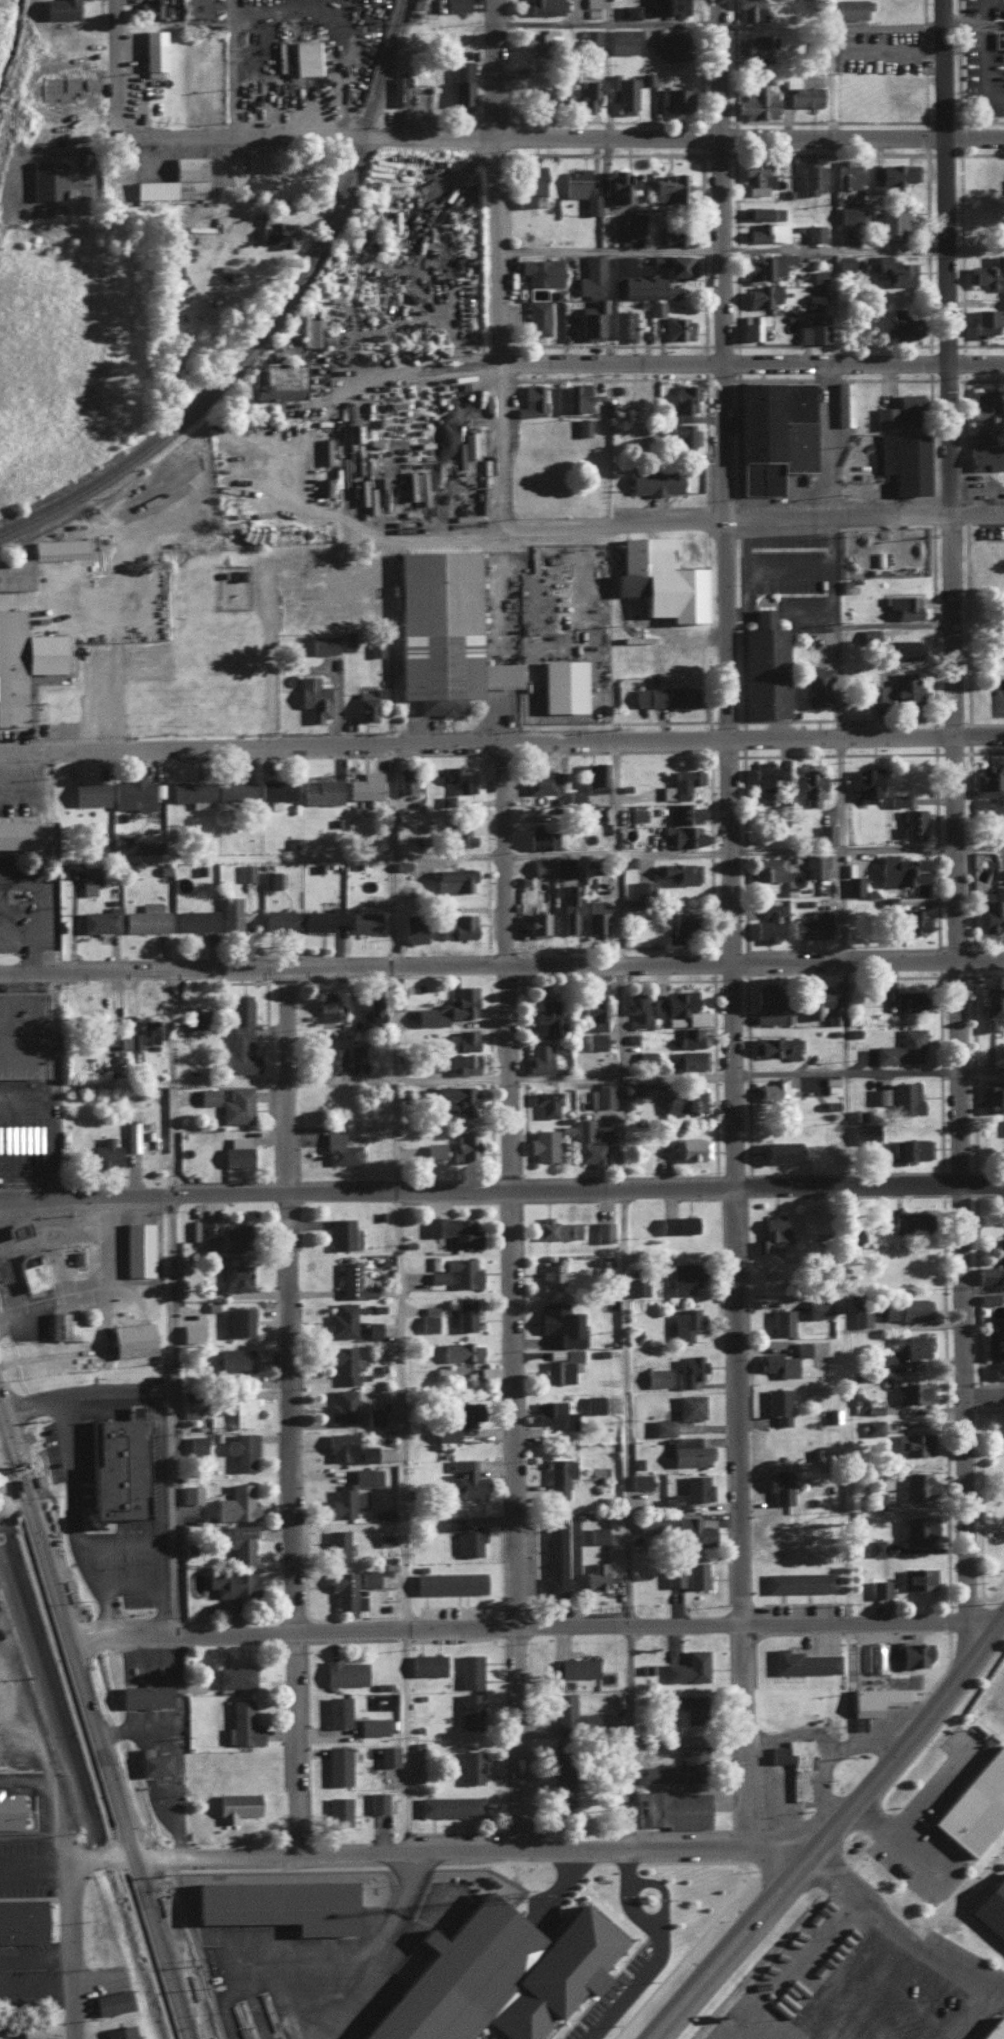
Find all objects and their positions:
building: (591, 3)
building: (455, 5)
building: (662, 6)
building: (197, 7)
building: (543, 7)
building: (850, 8)
building: (60, 9)
building: (148, 9)
building: (750, 10)
building: (628, 11)
road: (980, 14)
road: (748, 26)
building: (591, 36)
building: (535, 40)
building: (623, 40)
building: (668, 47)
building: (751, 48)
building: (152, 49)
building: (304, 57)
road: (127, 70)
road: (243, 70)
road: (605, 70)
building: (461, 84)
building: (399, 89)
building: (623, 92)
building: (588, 94)
building: (804, 95)
building: (672, 99)
building: (757, 102)
road: (565, 140)
building: (892, 171)
building: (846, 172)
building: (810, 175)
building: (756, 177)
building: (173, 181)
building: (528, 183)
building: (620, 185)
building: (670, 187)
building: (580, 189)
building: (762, 211)
building: (849, 213)
building: (892, 223)
building: (633, 225)
building: (767, 230)
building: (814, 231)
building: (277, 233)
building: (675, 234)
road: (751, 253)
building: (173, 256)
road: (498, 261)
building: (778, 261)
building: (842, 261)
building: (675, 263)
building: (756, 265)
building: (540, 269)
building: (894, 269)
building: (987, 271)
building: (590, 275)
building: (817, 275)
building: (634, 277)
building: (670, 290)
building: (762, 294)
building: (656, 306)
road: (608, 309)
building: (537, 315)
building: (591, 319)
building: (981, 319)
building: (623, 322)
building: (902, 322)
building: (752, 324)
building: (678, 326)
building: (812, 327)
railway: (280, 328)
building: (310, 328)
road: (752, 365)
road: (422, 368)
road: (722, 369)
building: (278, 379)
building: (577, 396)
building: (684, 396)
building: (531, 400)
building: (843, 401)
building: (907, 404)
building: (983, 410)
building: (885, 415)
building: (583, 425)
building: (772, 431)
building: (682, 434)
building: (985, 455)
building: (902, 459)
road: (348, 467)
building: (654, 479)
building: (422, 485)
road: (706, 523)
building: (55, 547)
road: (758, 569)
building: (14, 572)
building: (657, 577)
road: (499, 581)
building: (903, 605)
road: (808, 611)
road: (125, 617)
building: (442, 631)
building: (322, 643)
building: (904, 648)
building: (21, 660)
building: (764, 665)
building: (561, 684)
building: (815, 684)
building: (906, 686)
building: (875, 693)
building: (663, 695)
building: (313, 696)
road: (999, 697)
building: (366, 702)
road: (499, 722)
road: (866, 741)
road: (614, 743)
road: (250, 752)
building: (763, 773)
building: (594, 775)
building: (457, 777)
building: (403, 778)
building: (988, 780)
building: (542, 781)
building: (681, 782)
building: (866, 782)
building: (364, 784)
building: (810, 785)
building: (233, 788)
building: (275, 788)
building: (320, 790)
building: (88, 791)
building: (192, 791)
building: (131, 792)
building: (574, 794)
building: (896, 798)
building: (685, 812)
road: (953, 812)
building: (913, 822)
building: (18, 832)
building: (826, 832)
building: (683, 833)
building: (457, 835)
building: (539, 837)
road: (870, 850)
road: (563, 851)
road: (389, 857)
building: (815, 864)
building: (539, 865)
building: (560, 866)
building: (768, 867)
building: (901, 869)
building: (247, 871)
building: (678, 871)
road: (842, 874)
building: (88, 878)
building: (270, 878)
building: (454, 878)
building: (853, 884)
building: (643, 886)
road: (41, 904)
building: (569, 906)
building: (992, 908)
building: (230, 913)
building: (319, 917)
building: (595, 917)
building: (146, 918)
building: (195, 918)
building: (100, 919)
building: (280, 919)
building: (363, 919)
building: (769, 921)
building: (911, 921)
building: (536, 923)
building: (812, 924)
building: (457, 925)
building: (678, 926)
building: (412, 927)
road: (34, 954)
road: (501, 964)
road: (617, 967)
building: (884, 988)
building: (767, 995)
building: (908, 999)
building: (817, 1000)
building: (462, 1001)
building: (673, 1002)
building: (325, 1006)
building: (634, 1007)
building: (989, 1007)
building: (372, 1008)
building: (591, 1011)
building: (430, 1015)
building: (545, 1015)
building: (695, 1016)
building: (831, 1016)
building: (768, 1017)
building: (192, 1018)
building: (675, 1020)
building: (142, 1034)
building: (23, 1035)
building: (688, 1035)
building: (240, 1036)
building: (461, 1039)
building: (594, 1040)
building: (775, 1045)
building: (901, 1047)
building: (355, 1051)
building: (326, 1057)
building: (645, 1057)
building: (538, 1058)
building: (689, 1059)
building: (462, 1062)
road: (645, 1075)
building: (632, 1087)
building: (774, 1088)
building: (602, 1094)
building: (207, 1095)
building: (879, 1095)
building: (993, 1095)
building: (906, 1097)
building: (456, 1098)
building: (684, 1099)
building: (546, 1102)
building: (237, 1104)
building: (858, 1114)
building: (864, 1132)
road: (46, 1140)
building: (591, 1140)
building: (465, 1143)
building: (542, 1144)
building: (691, 1147)
building: (339, 1149)
building: (909, 1149)
building: (434, 1150)
building: (779, 1150)
building: (237, 1151)
building: (104, 1152)
road: (501, 1192)
building: (809, 1220)
building: (906, 1220)
building: (677, 1223)
building: (556, 1227)
building: (16, 1228)
building: (453, 1229)
building: (603, 1230)
building: (341, 1232)
building: (770, 1232)
building: (209, 1234)
road: (52, 1235)
building: (855, 1235)
building: (233, 1236)
building: (137, 1248)
building: (998, 1248)
building: (436, 1261)
building: (3, 1270)
building: (462, 1270)
building: (27, 1271)
building: (552, 1271)
building: (985, 1273)
building: (437, 1275)
building: (235, 1276)
building: (683, 1276)
building: (352, 1280)
building: (636, 1285)
road: (982, 1288)
road: (91, 1289)
road: (747, 1295)
building: (987, 1297)
road: (509, 1299)
road: (286, 1306)
road: (172, 1307)
building: (815, 1307)
building: (905, 1308)
building: (464, 1313)
building: (860, 1315)
building: (342, 1319)
building: (236, 1320)
building: (780, 1321)
building: (428, 1322)
building: (558, 1322)
building: (687, 1324)
building: (65, 1326)
building: (372, 1328)
building: (190, 1331)
building: (129, 1339)
building: (994, 1339)
building: (915, 1345)
building: (801, 1347)
road: (81, 1349)
building: (460, 1350)
building: (572, 1353)
building: (234, 1359)
building: (884, 1360)
building: (343, 1362)
building: (777, 1363)
building: (688, 1369)
building: (558, 1370)
building: (656, 1376)
building: (915, 1391)
road: (983, 1395)
road: (85, 1399)
building: (592, 1403)
building: (777, 1404)
building: (342, 1406)
building: (689, 1406)
building: (872, 1408)
building: (242, 1410)
road: (401, 1410)
building: (554, 1413)
building: (833, 1414)
building: (373, 1415)
building: (454, 1421)
building: (662, 1426)
building: (872, 1427)
building: (913, 1442)
building: (195, 1443)
building: (347, 1447)
building: (242, 1449)
building: (689, 1453)
building: (116, 1468)
building: (362, 1475)
building: (557, 1477)
building: (466, 1478)
building: (638, 1480)
building: (917, 1484)
building: (779, 1485)
road: (11, 1490)
building: (191, 1493)
building: (688, 1493)
building: (876, 1499)
building: (343, 1500)
park: (997, 1502)
building: (236, 1503)
road: (15, 1517)
building: (647, 1521)
building: (451, 1522)
road: (625, 1522)
road: (73, 1523)
building: (695, 1530)
building: (916, 1530)
building: (596, 1534)
building: (384, 1538)
building: (237, 1541)
road: (129, 1542)
building: (468, 1542)
building: (337, 1544)
building: (875, 1546)
building: (554, 1557)
building: (695, 1574)
building: (596, 1575)
building: (672, 1576)
building: (368, 1577)
building: (917, 1578)
building: (799, 1581)
building: (449, 1582)
road: (137, 1583)
building: (232, 1583)
building: (879, 1588)
building: (345, 1590)
road: (999, 1618)
road: (536, 1629)
building: (911, 1653)
building: (875, 1656)
building: (803, 1661)
building: (426, 1663)
building: (574, 1667)
building: (688, 1667)
building: (470, 1670)
building: (344, 1672)
building: (234, 1675)
road: (950, 1681)
road: (81, 1685)
building: (143, 1695)
building: (874, 1699)
building: (686, 1705)
building: (337, 1710)
building: (470, 1710)
building: (571, 1712)
building: (243, 1722)
building: (372, 1725)
road: (296, 1748)
road: (179, 1749)
road: (832, 1749)
building: (387, 1755)
building: (153, 1763)
building: (795, 1763)
building: (337, 1765)
building: (471, 1766)
building: (674, 1767)
road: (879, 1769)
road: (933, 1790)
building: (561, 1793)
building: (377, 1801)
building: (235, 1805)
building: (449, 1805)
building: (975, 1805)
building: (11, 1808)
building: (671, 1808)
building: (338, 1810)
road: (68, 1825)
road: (828, 1830)
road: (902, 1842)
road: (640, 1852)
road: (77, 1853)
road: (782, 1855)
road: (328, 1858)
road: (107, 1862)
road: (495, 1862)
road: (638, 1867)
road: (30, 1879)
road: (70, 1879)
road: (575, 1885)
road: (675, 1899)
building: (277, 1901)
building: (991, 1904)
road: (647, 1917)
building: (21, 1918)
road: (902, 1929)
road: (724, 1949)
road: (82, 1951)
road: (382, 1951)
road: (671, 1957)
road: (309, 1959)
road: (40, 1967)
road: (799, 1967)
building: (509, 1974)
parking lot: (854, 1983)
road: (616, 1985)
road: (892, 1986)
road: (41, 1995)
road: (175, 1997)
parking lot: (620, 1999)
building: (112, 2000)
road: (633, 2002)
road: (844, 2002)
road: (982, 2017)
road: (794, 2019)
building: (9, 2028)
road: (503, 2030)
road: (789, 2030)
building: (994, 2030)
building: (28, 2031)
building: (119, 2031)

